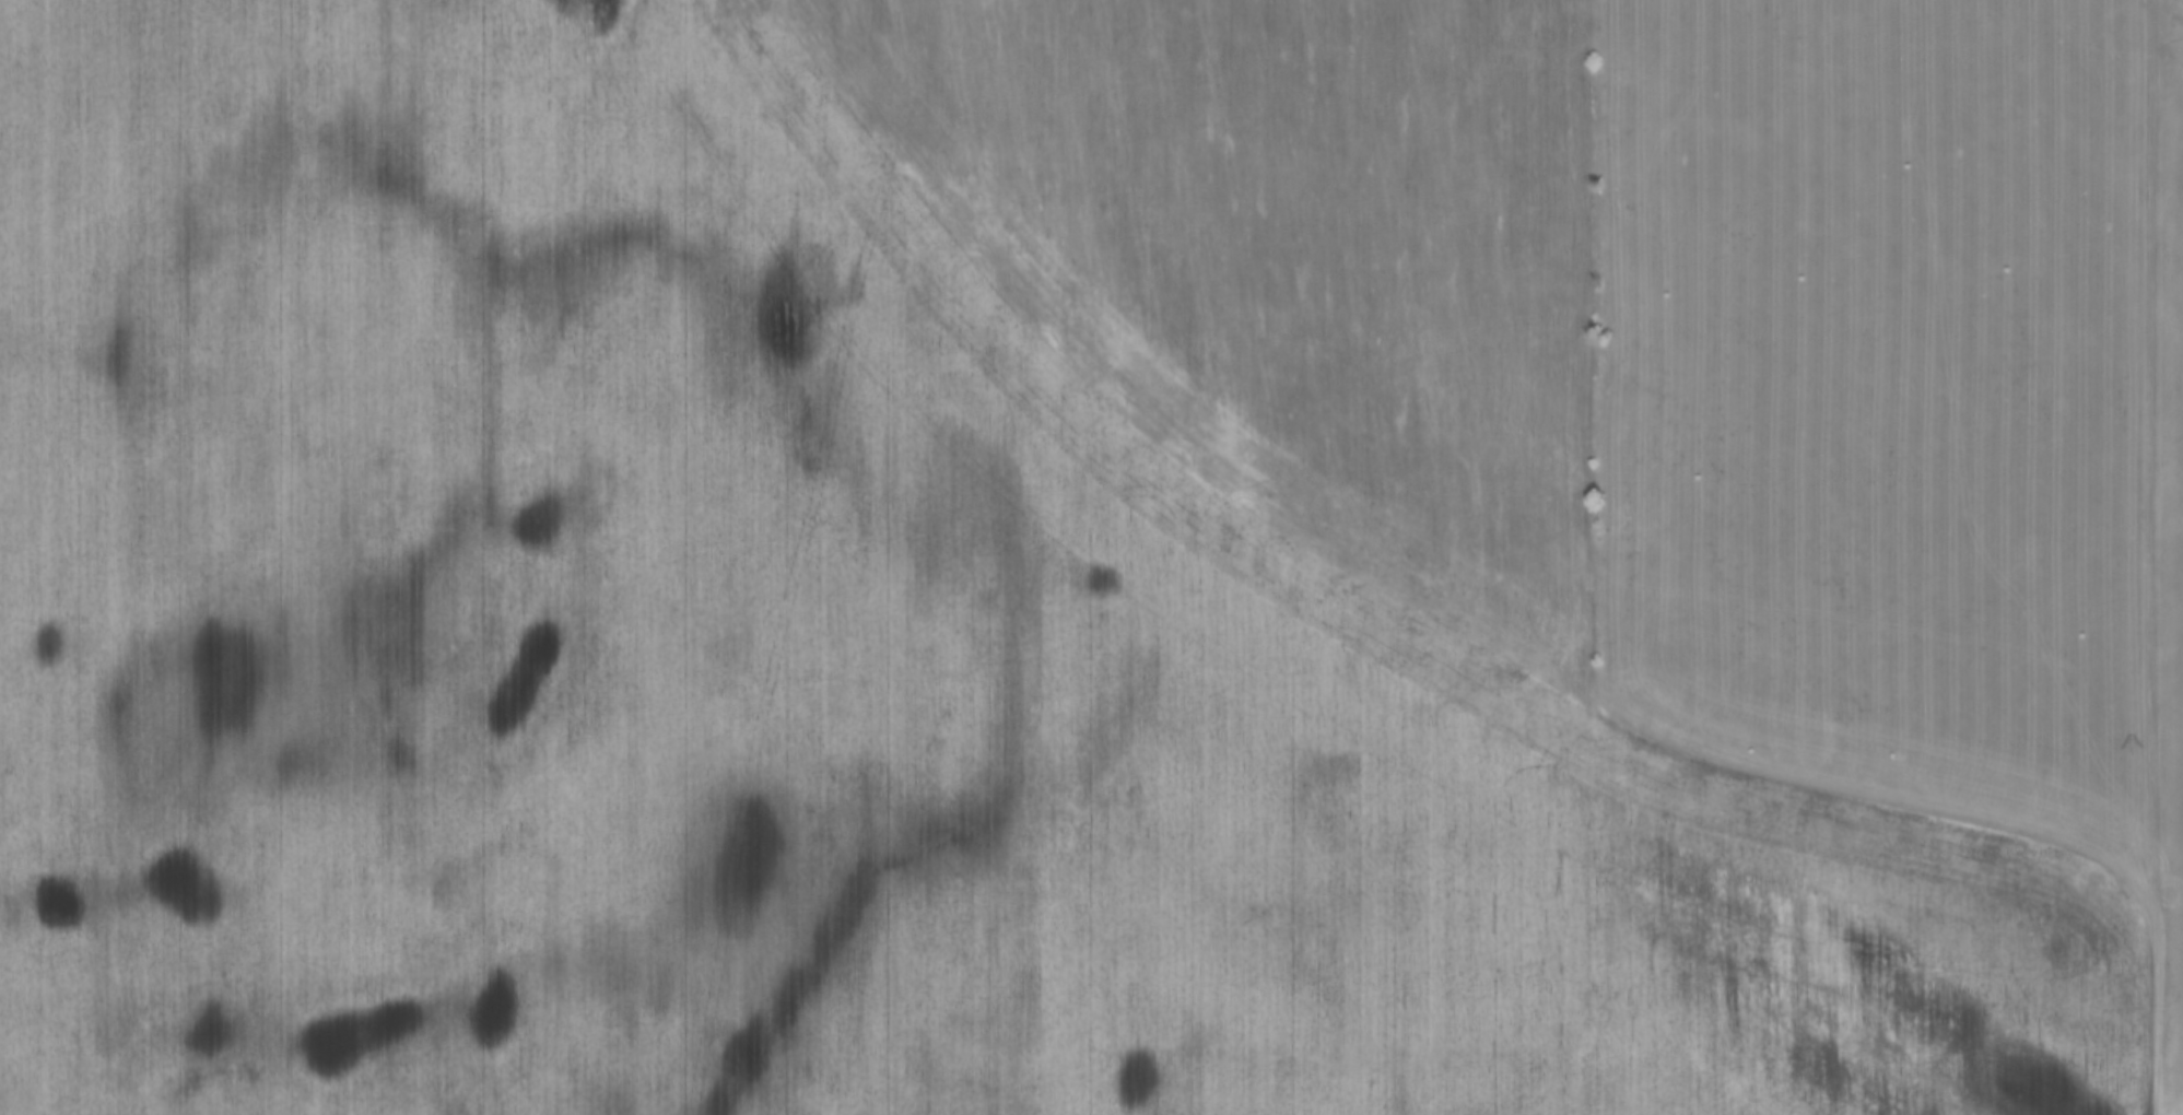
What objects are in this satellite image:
road: (2152, 557)

